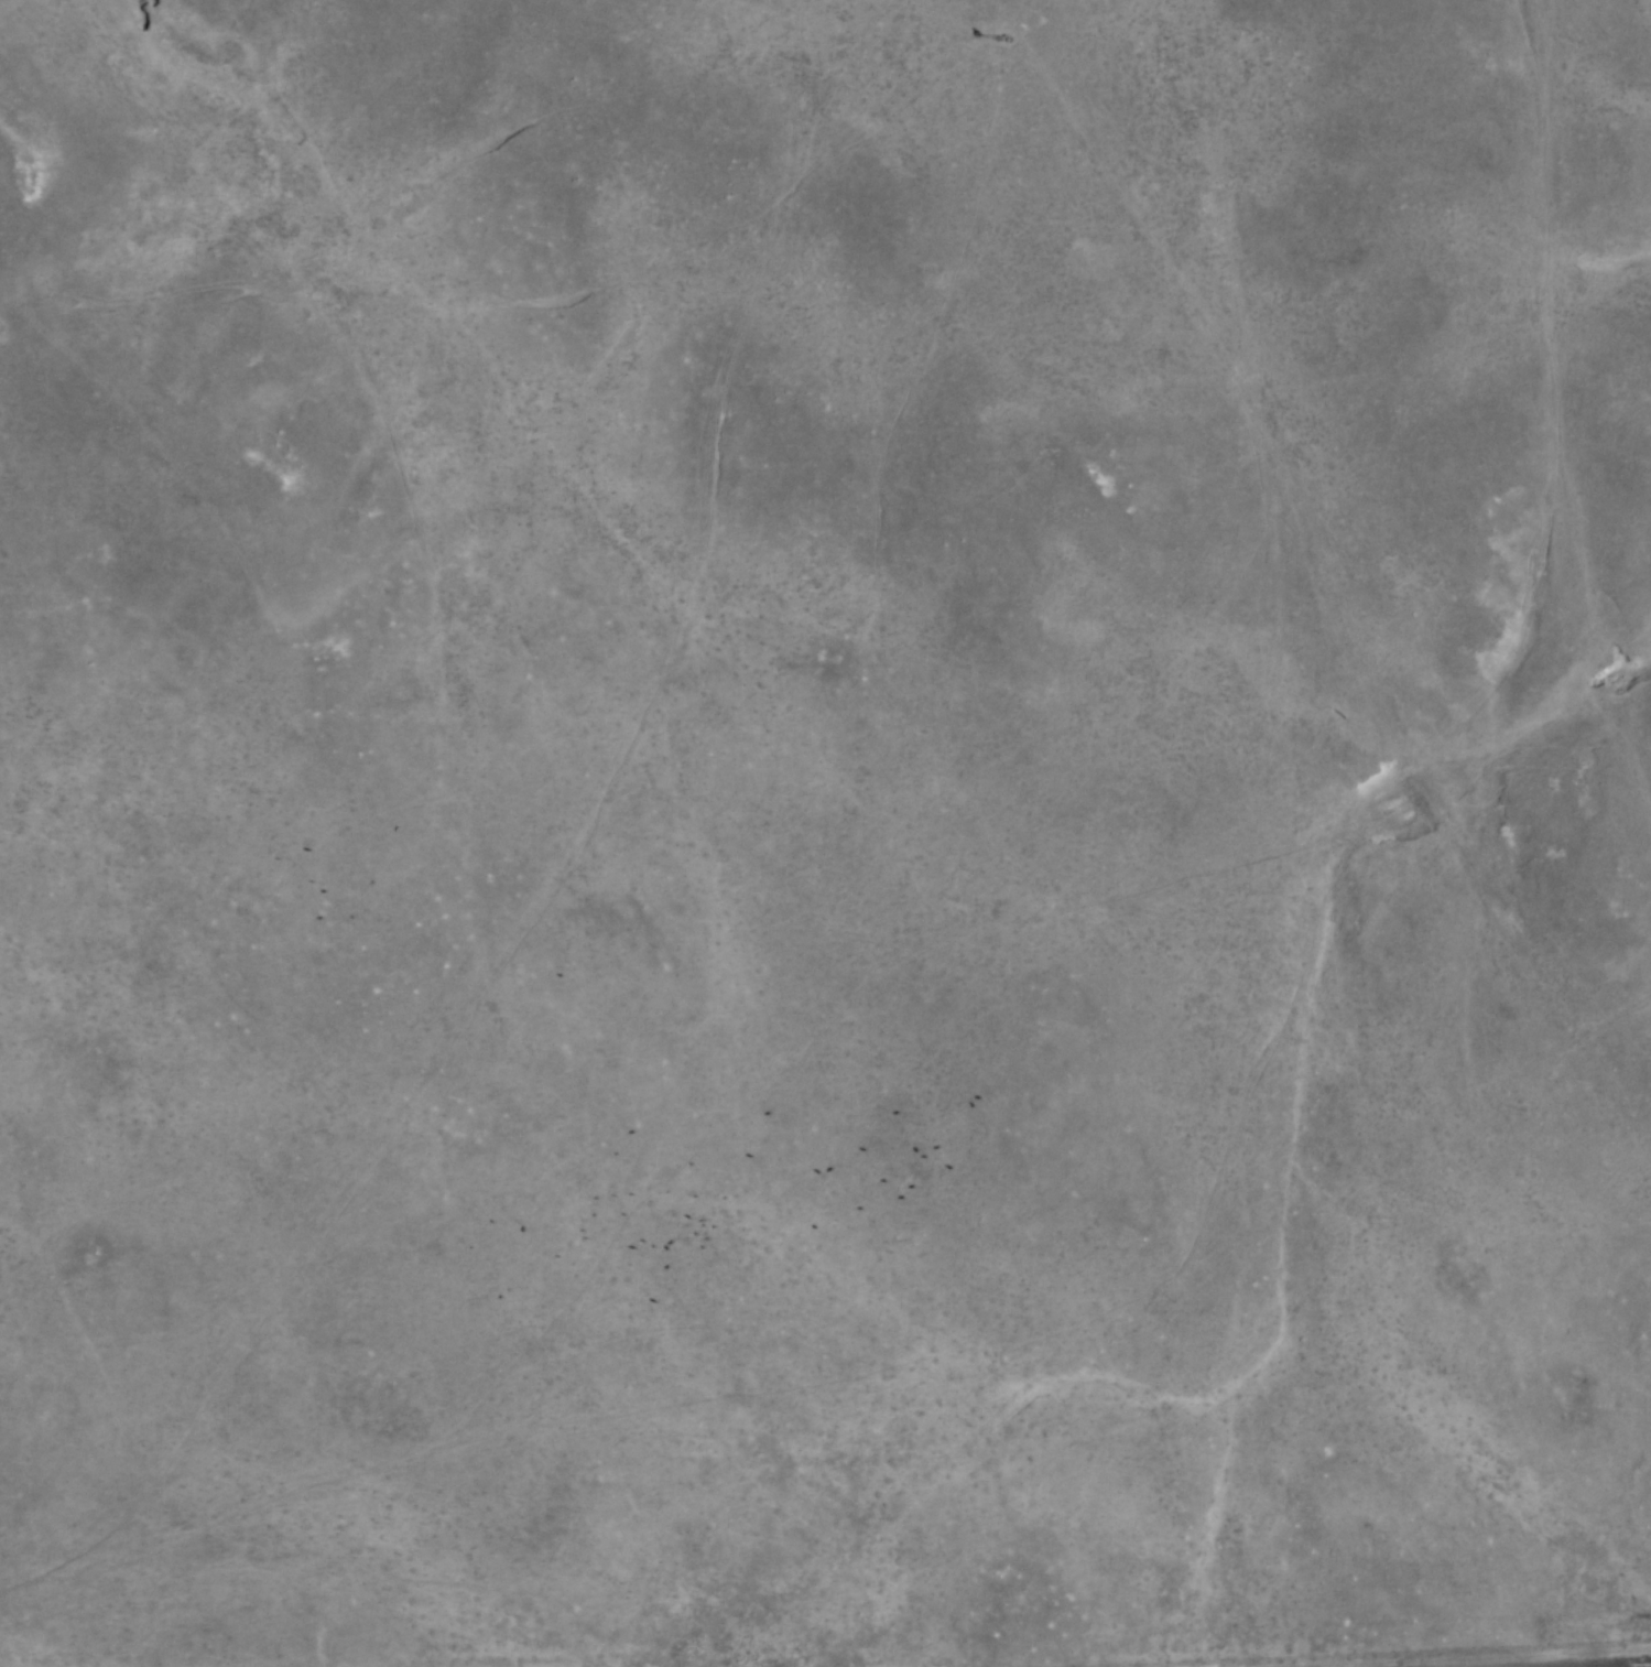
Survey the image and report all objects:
crop: (1556, 1663)

